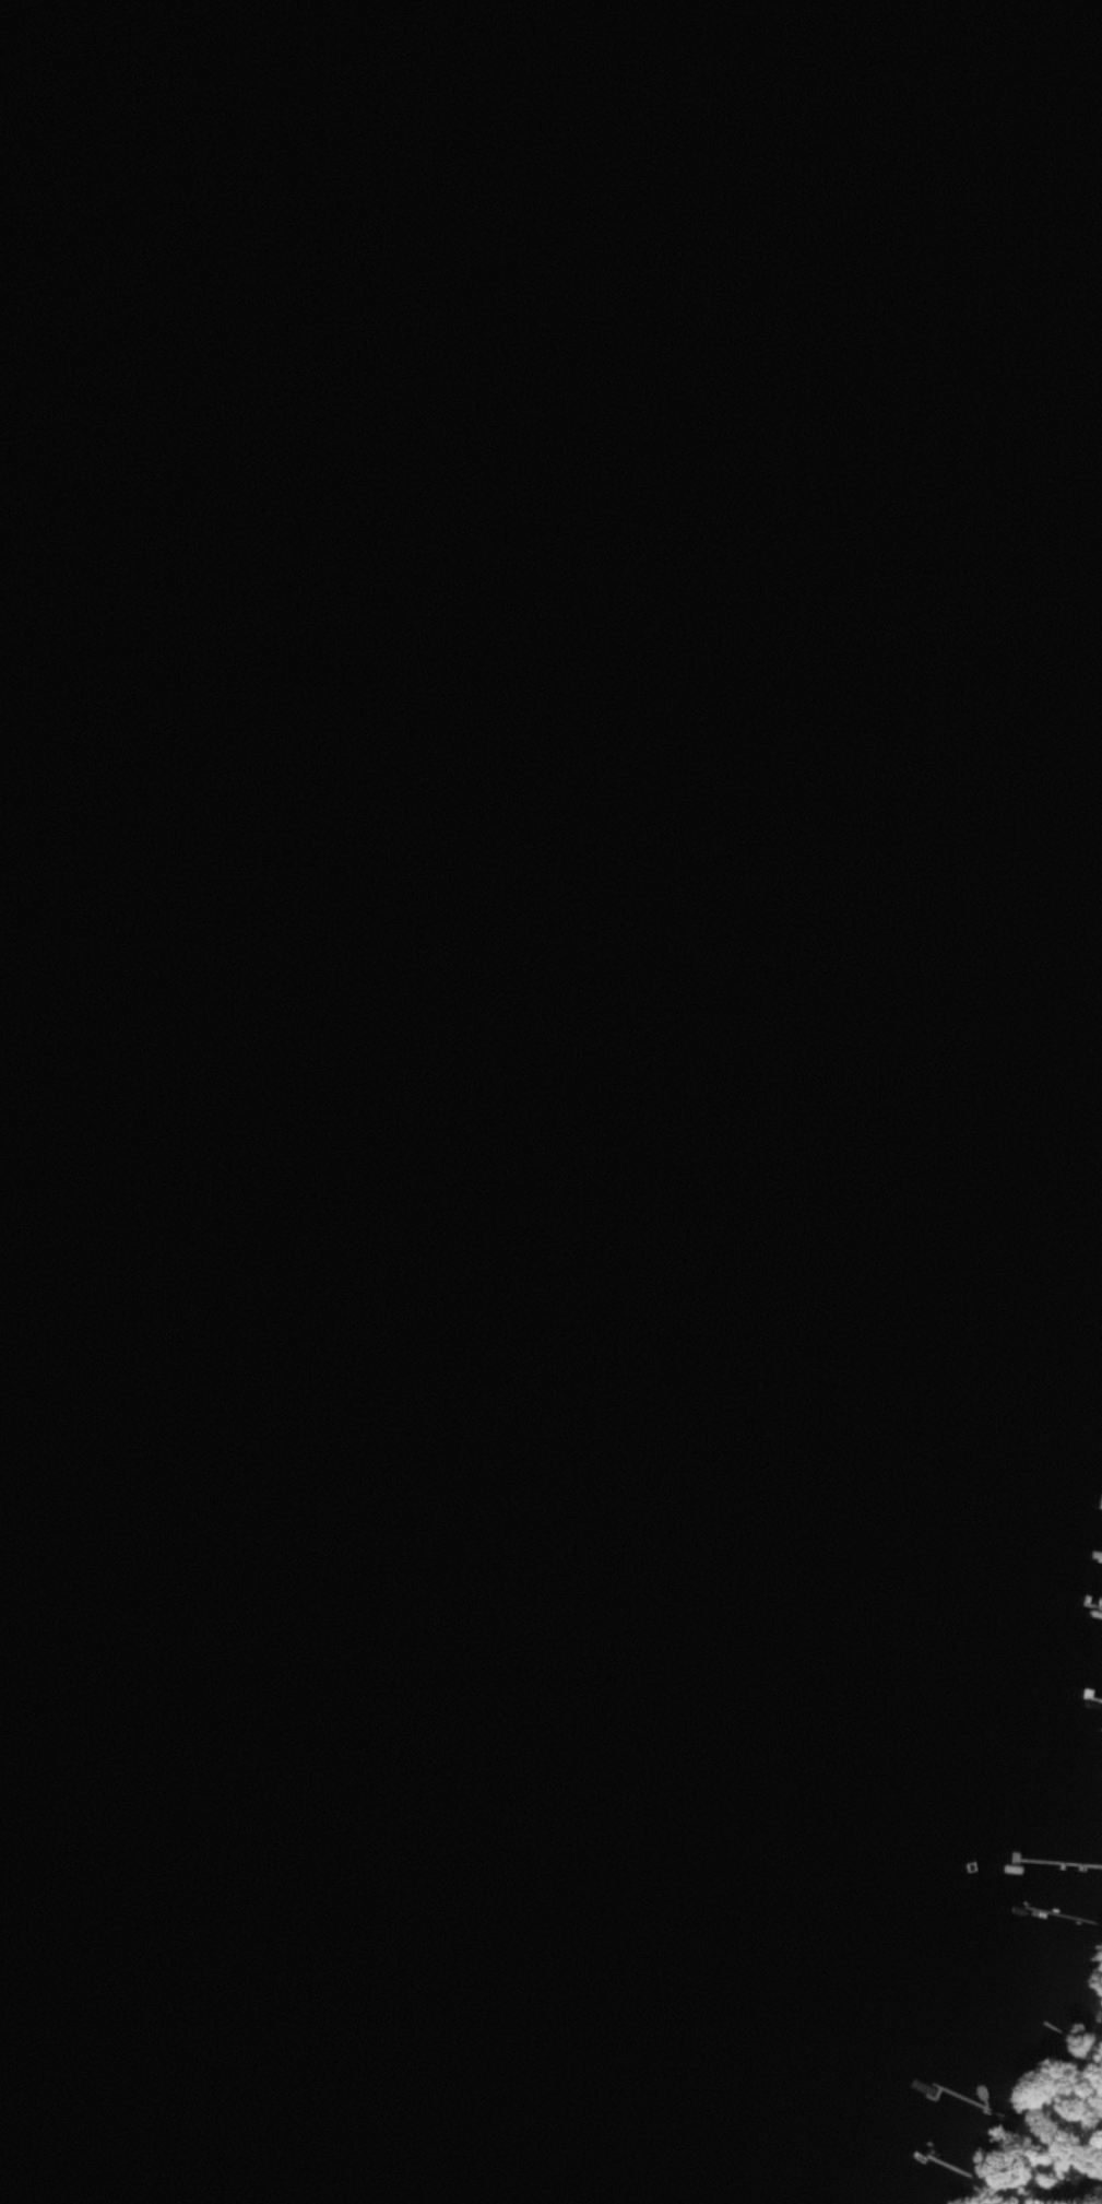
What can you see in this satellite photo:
building: (1074, 2187)

